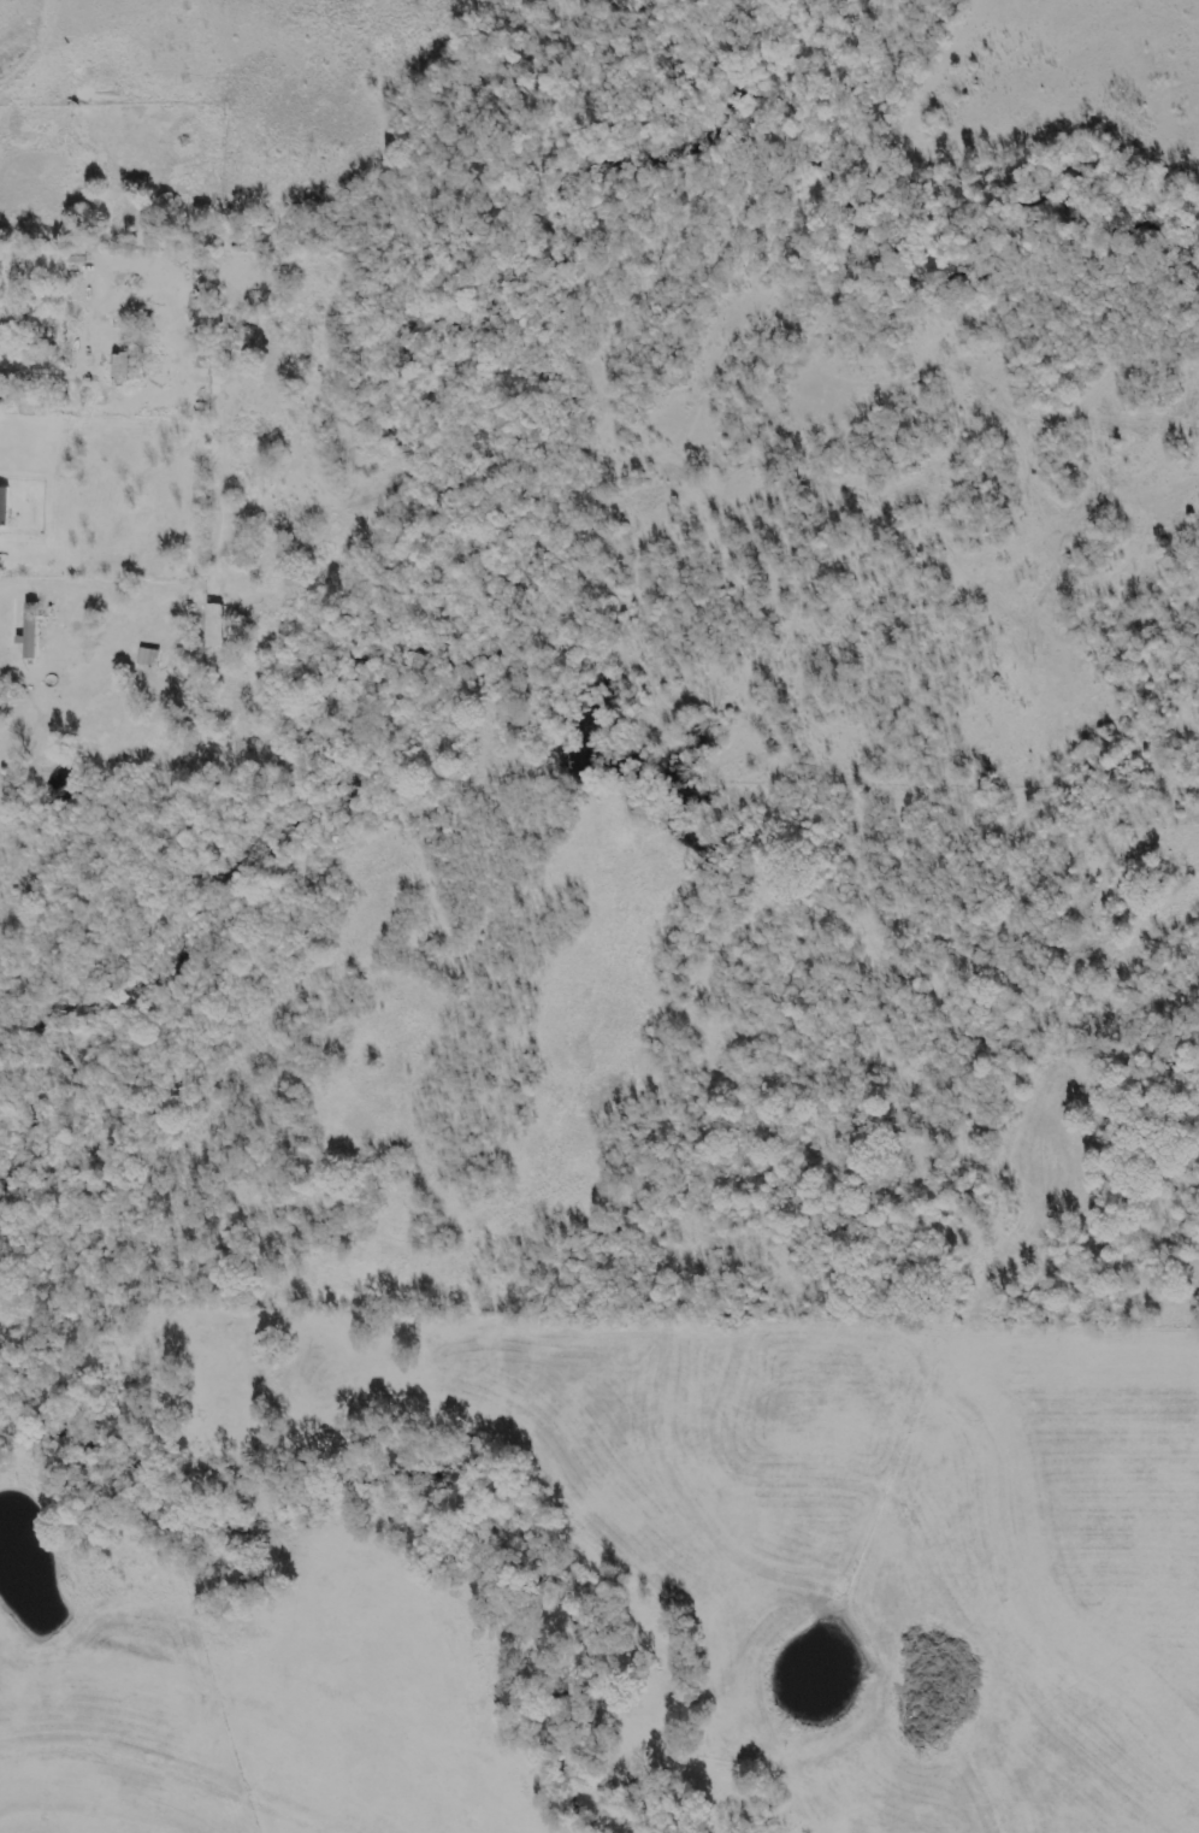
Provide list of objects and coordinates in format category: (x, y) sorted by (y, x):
building: (0, 324)
building: (235, 332)
building: (118, 370)
building: (5, 505)
building: (34, 630)
building: (26, 632)
building: (141, 658)

